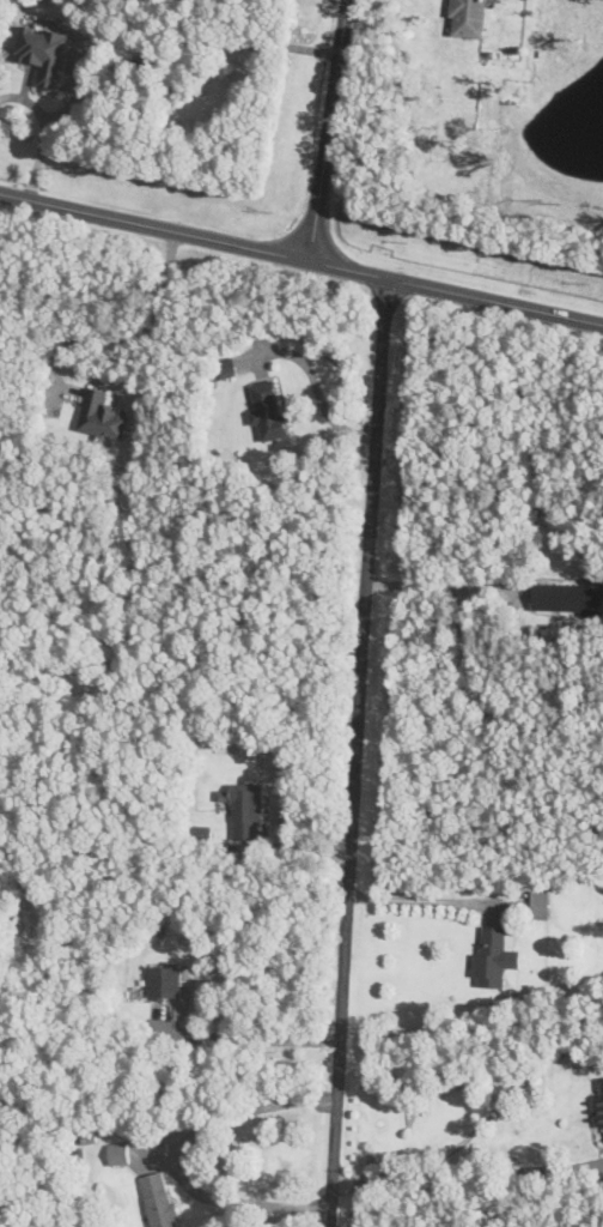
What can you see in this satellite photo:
building: (469, 18)
building: (44, 53)
road: (328, 129)
road: (44, 132)
road: (301, 256)
road: (130, 336)
building: (227, 368)
road: (315, 382)
building: (268, 410)
building: (103, 416)
road: (536, 515)
building: (568, 598)
road: (361, 751)
building: (248, 811)
building: (202, 834)
road: (299, 847)
road: (424, 900)
building: (540, 905)
building: (495, 957)
building: (165, 984)
road: (254, 1039)
building: (601, 1100)
building: (118, 1154)
road: (182, 1156)
road: (471, 1179)
building: (159, 1199)

